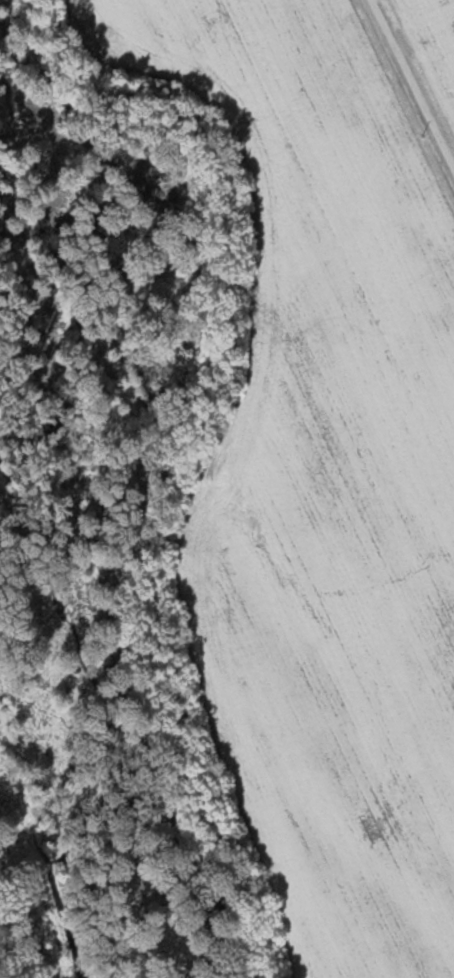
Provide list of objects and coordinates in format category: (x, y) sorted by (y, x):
road: (419, 70)

